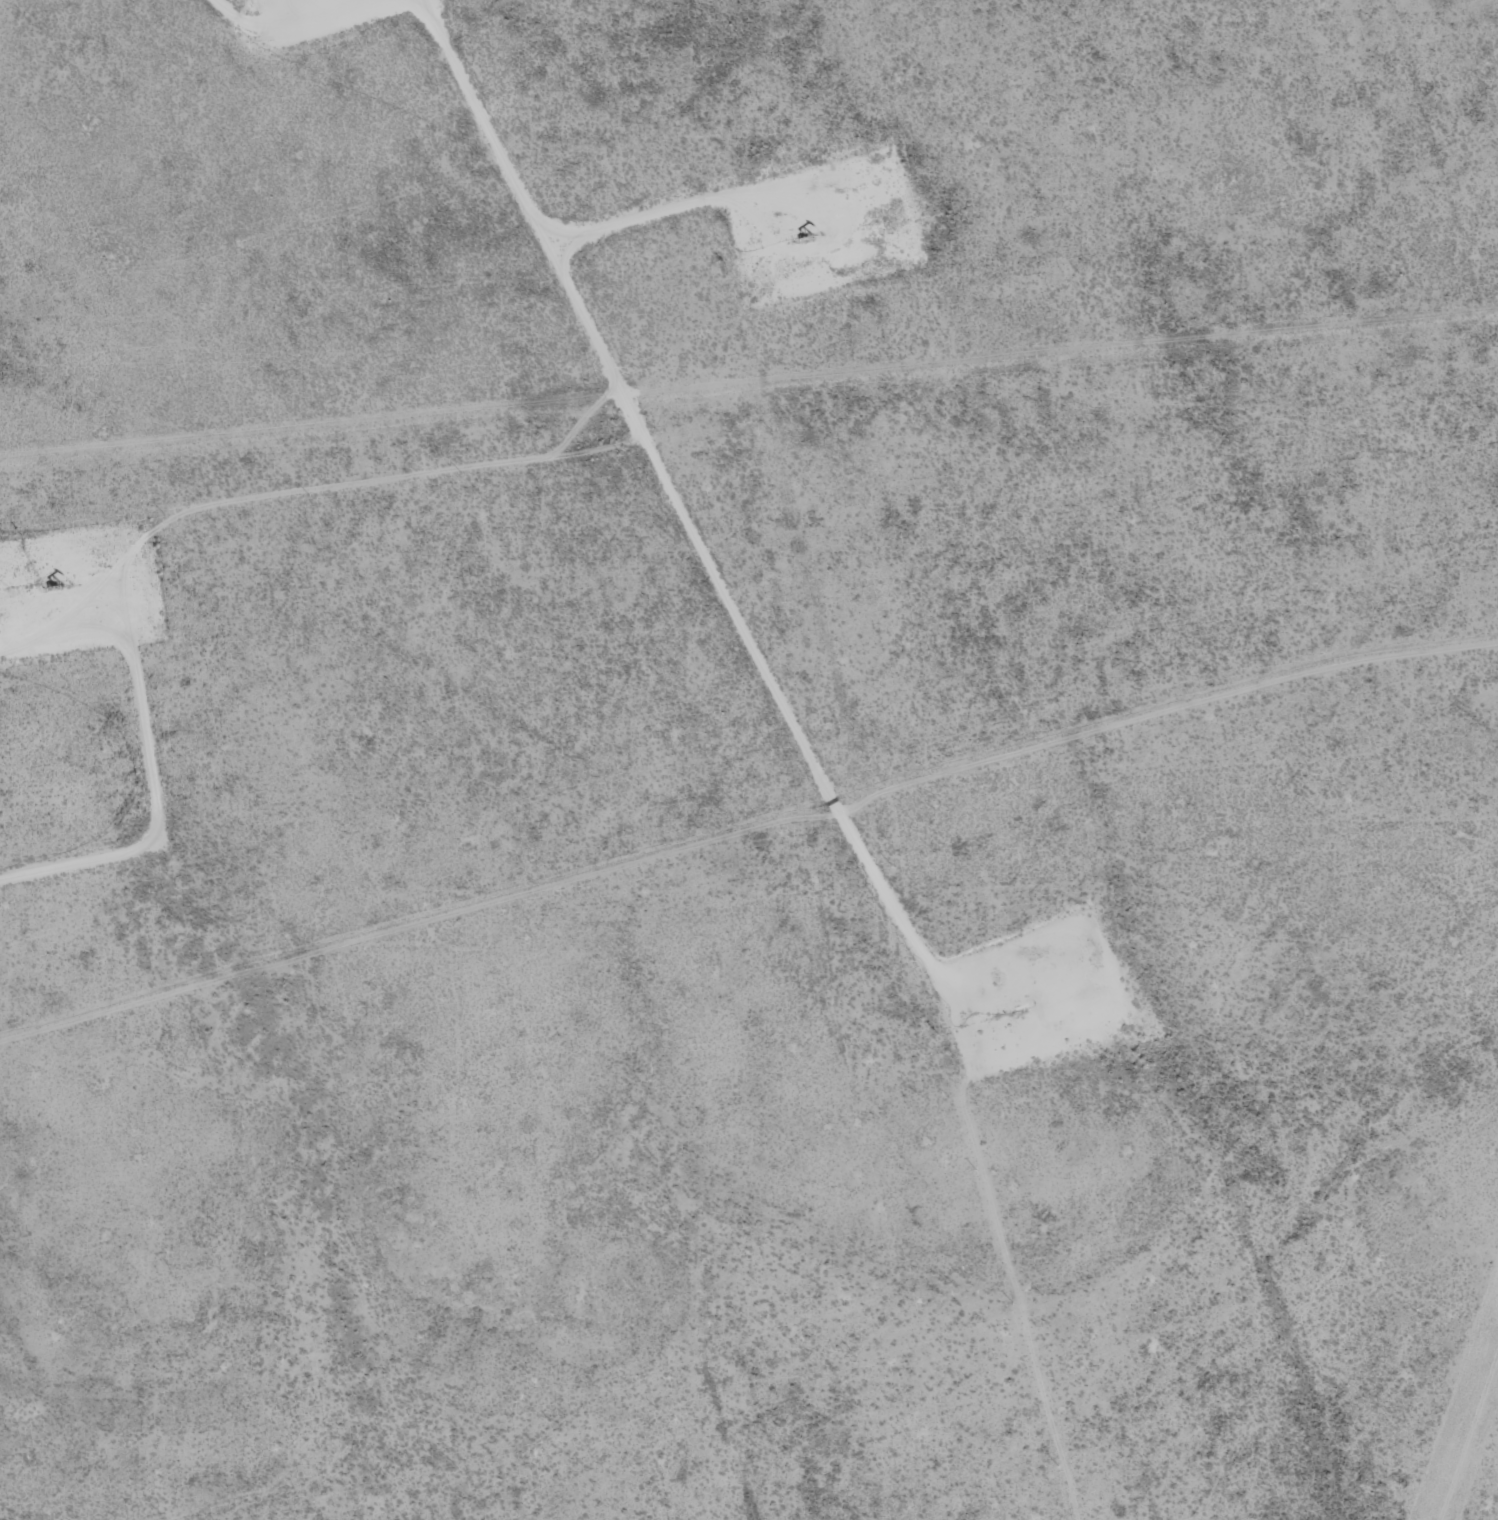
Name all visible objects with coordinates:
road: (314, 26)
road: (675, 483)
road: (64, 637)
road: (149, 772)

